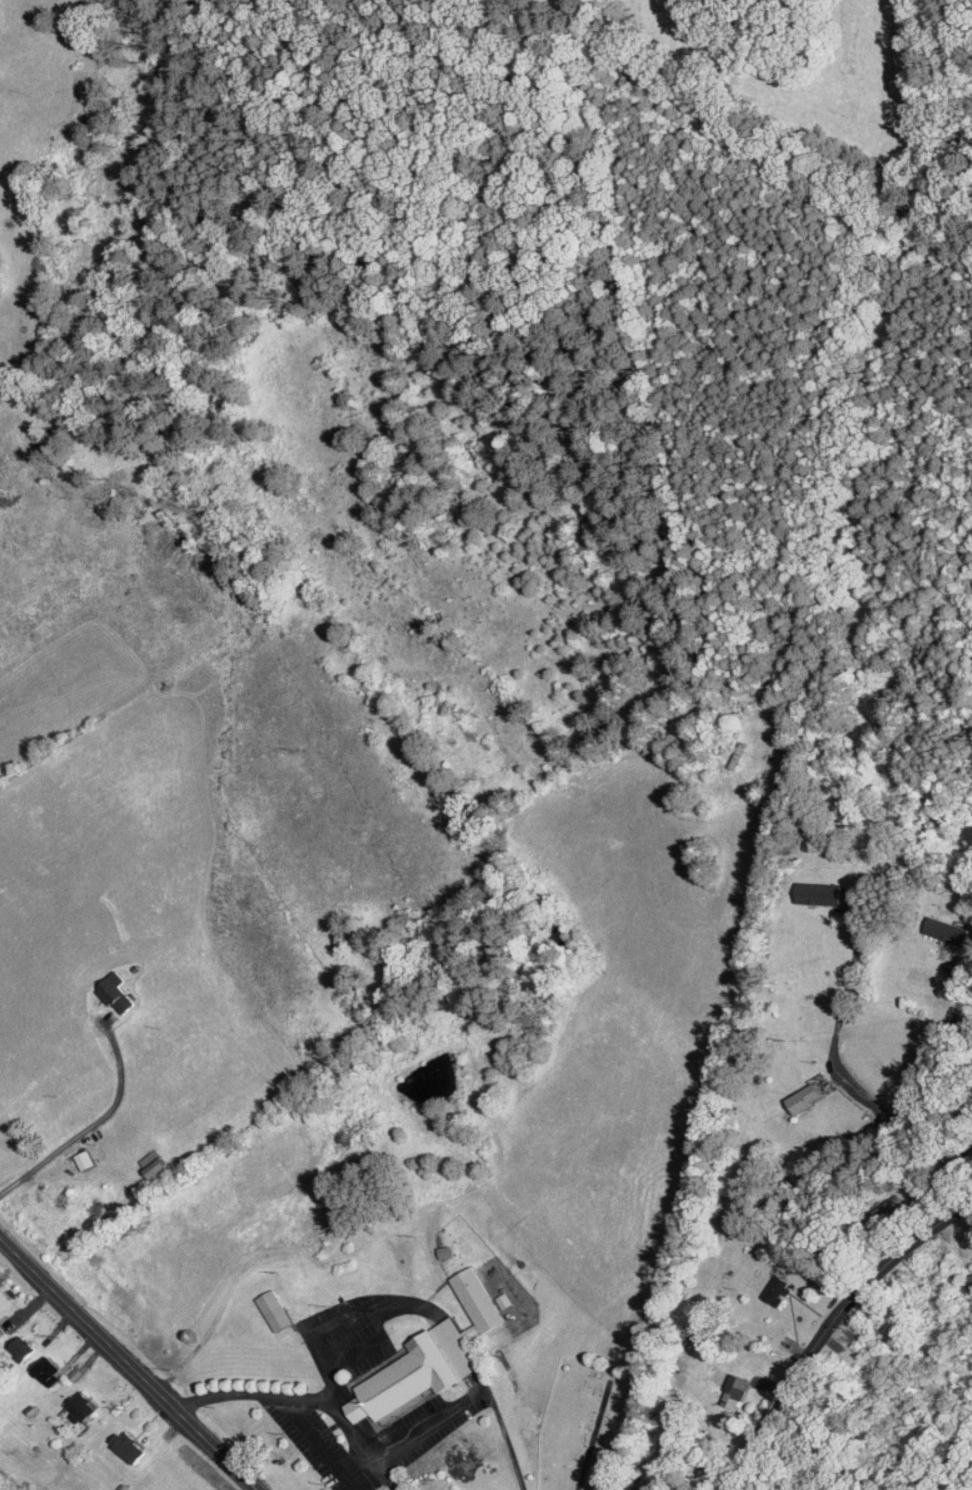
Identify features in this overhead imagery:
road: (853, 1090)
road: (93, 1127)
road: (222, 1308)
road: (829, 1325)
road: (128, 1364)

